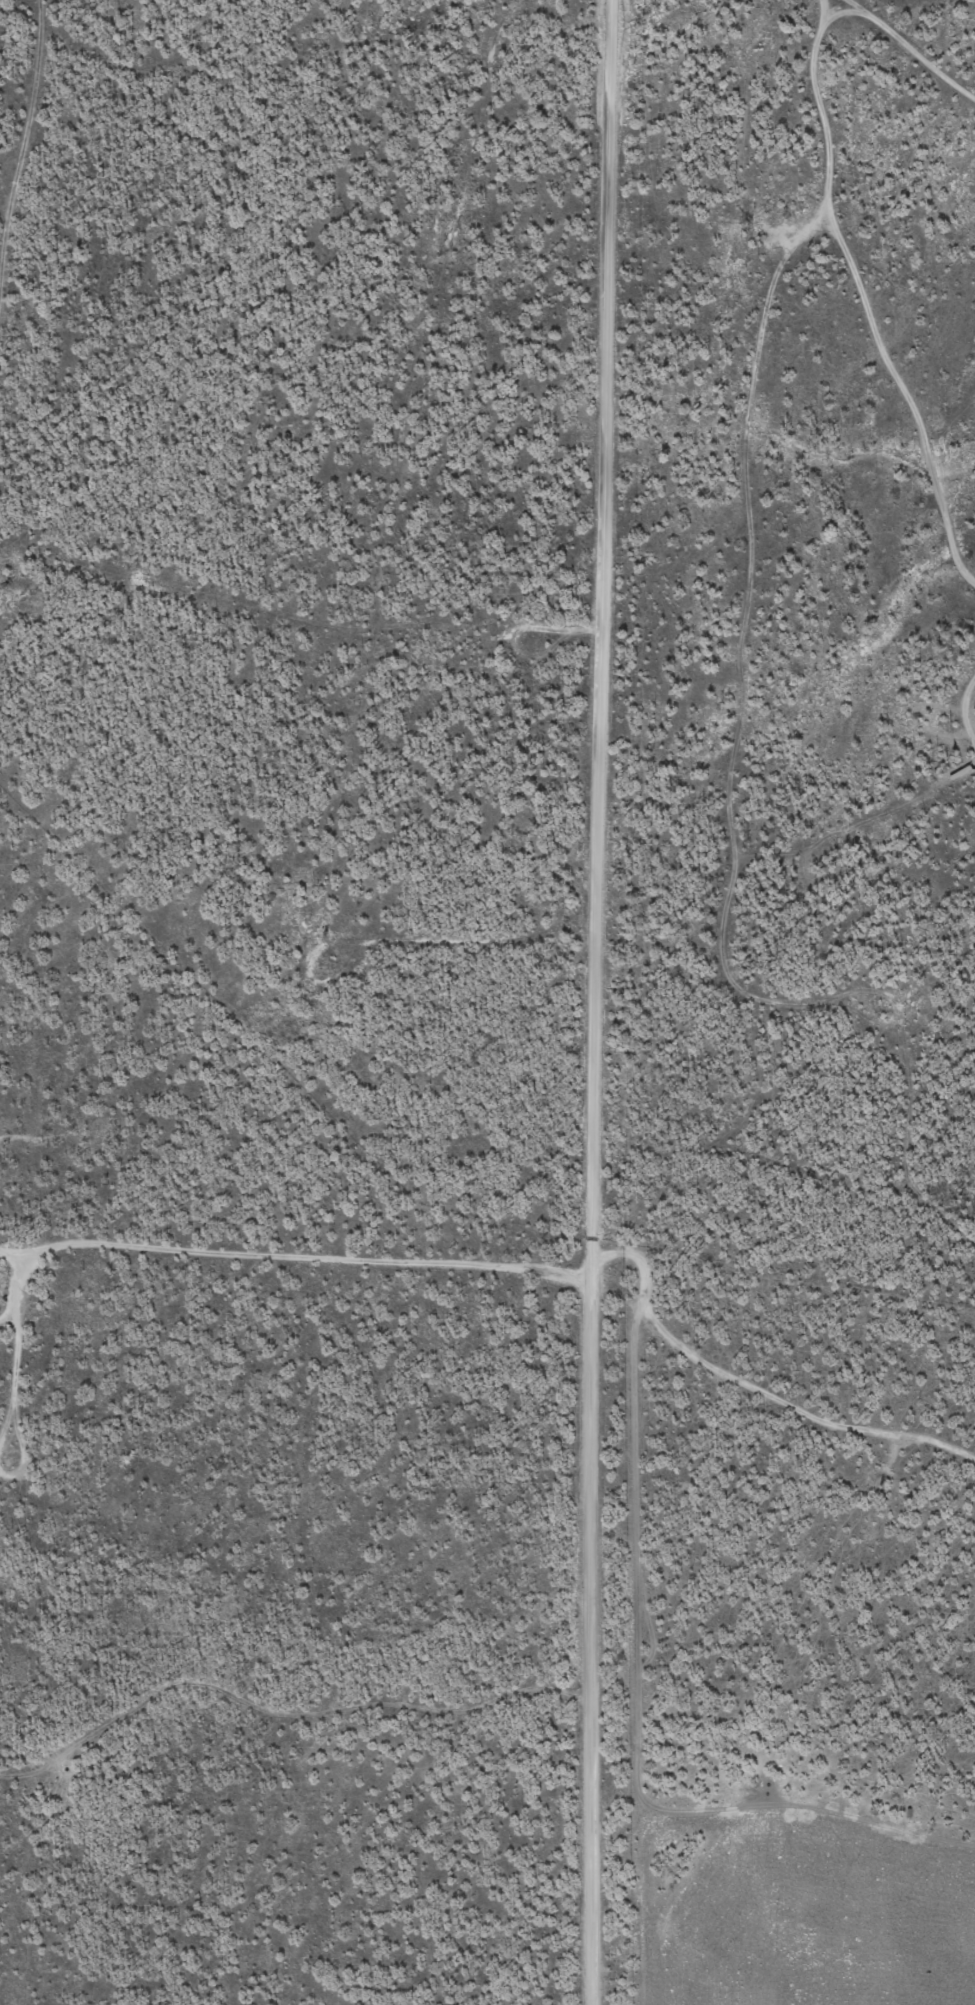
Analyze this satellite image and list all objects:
road: (840, 9)
road: (900, 51)
road: (901, 401)
road: (960, 715)
road: (748, 754)
road: (972, 761)
road: (779, 858)
road: (595, 1002)
road: (16, 1289)
road: (251, 1983)

